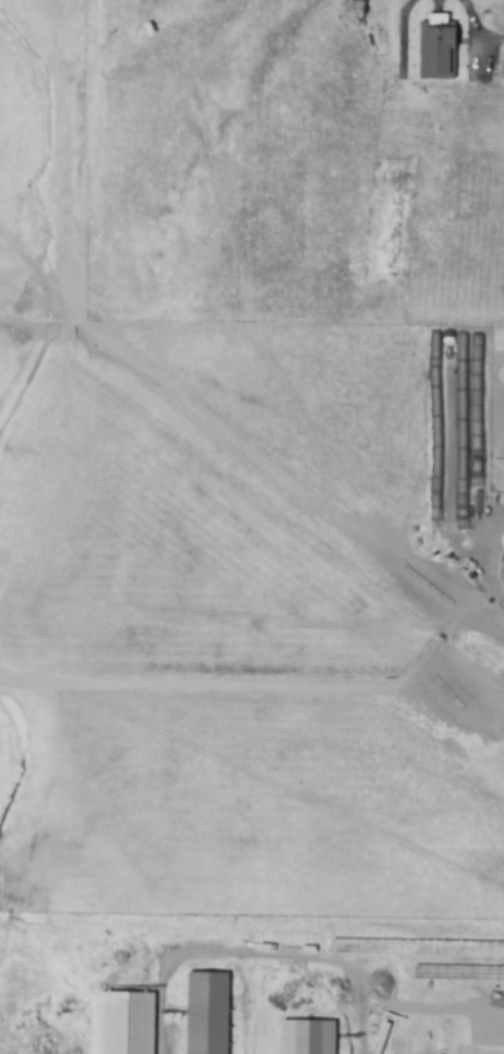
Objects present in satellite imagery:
road: (494, 38)
building: (434, 47)
road: (253, 954)
building: (207, 1013)
building: (123, 1022)
building: (307, 1037)

